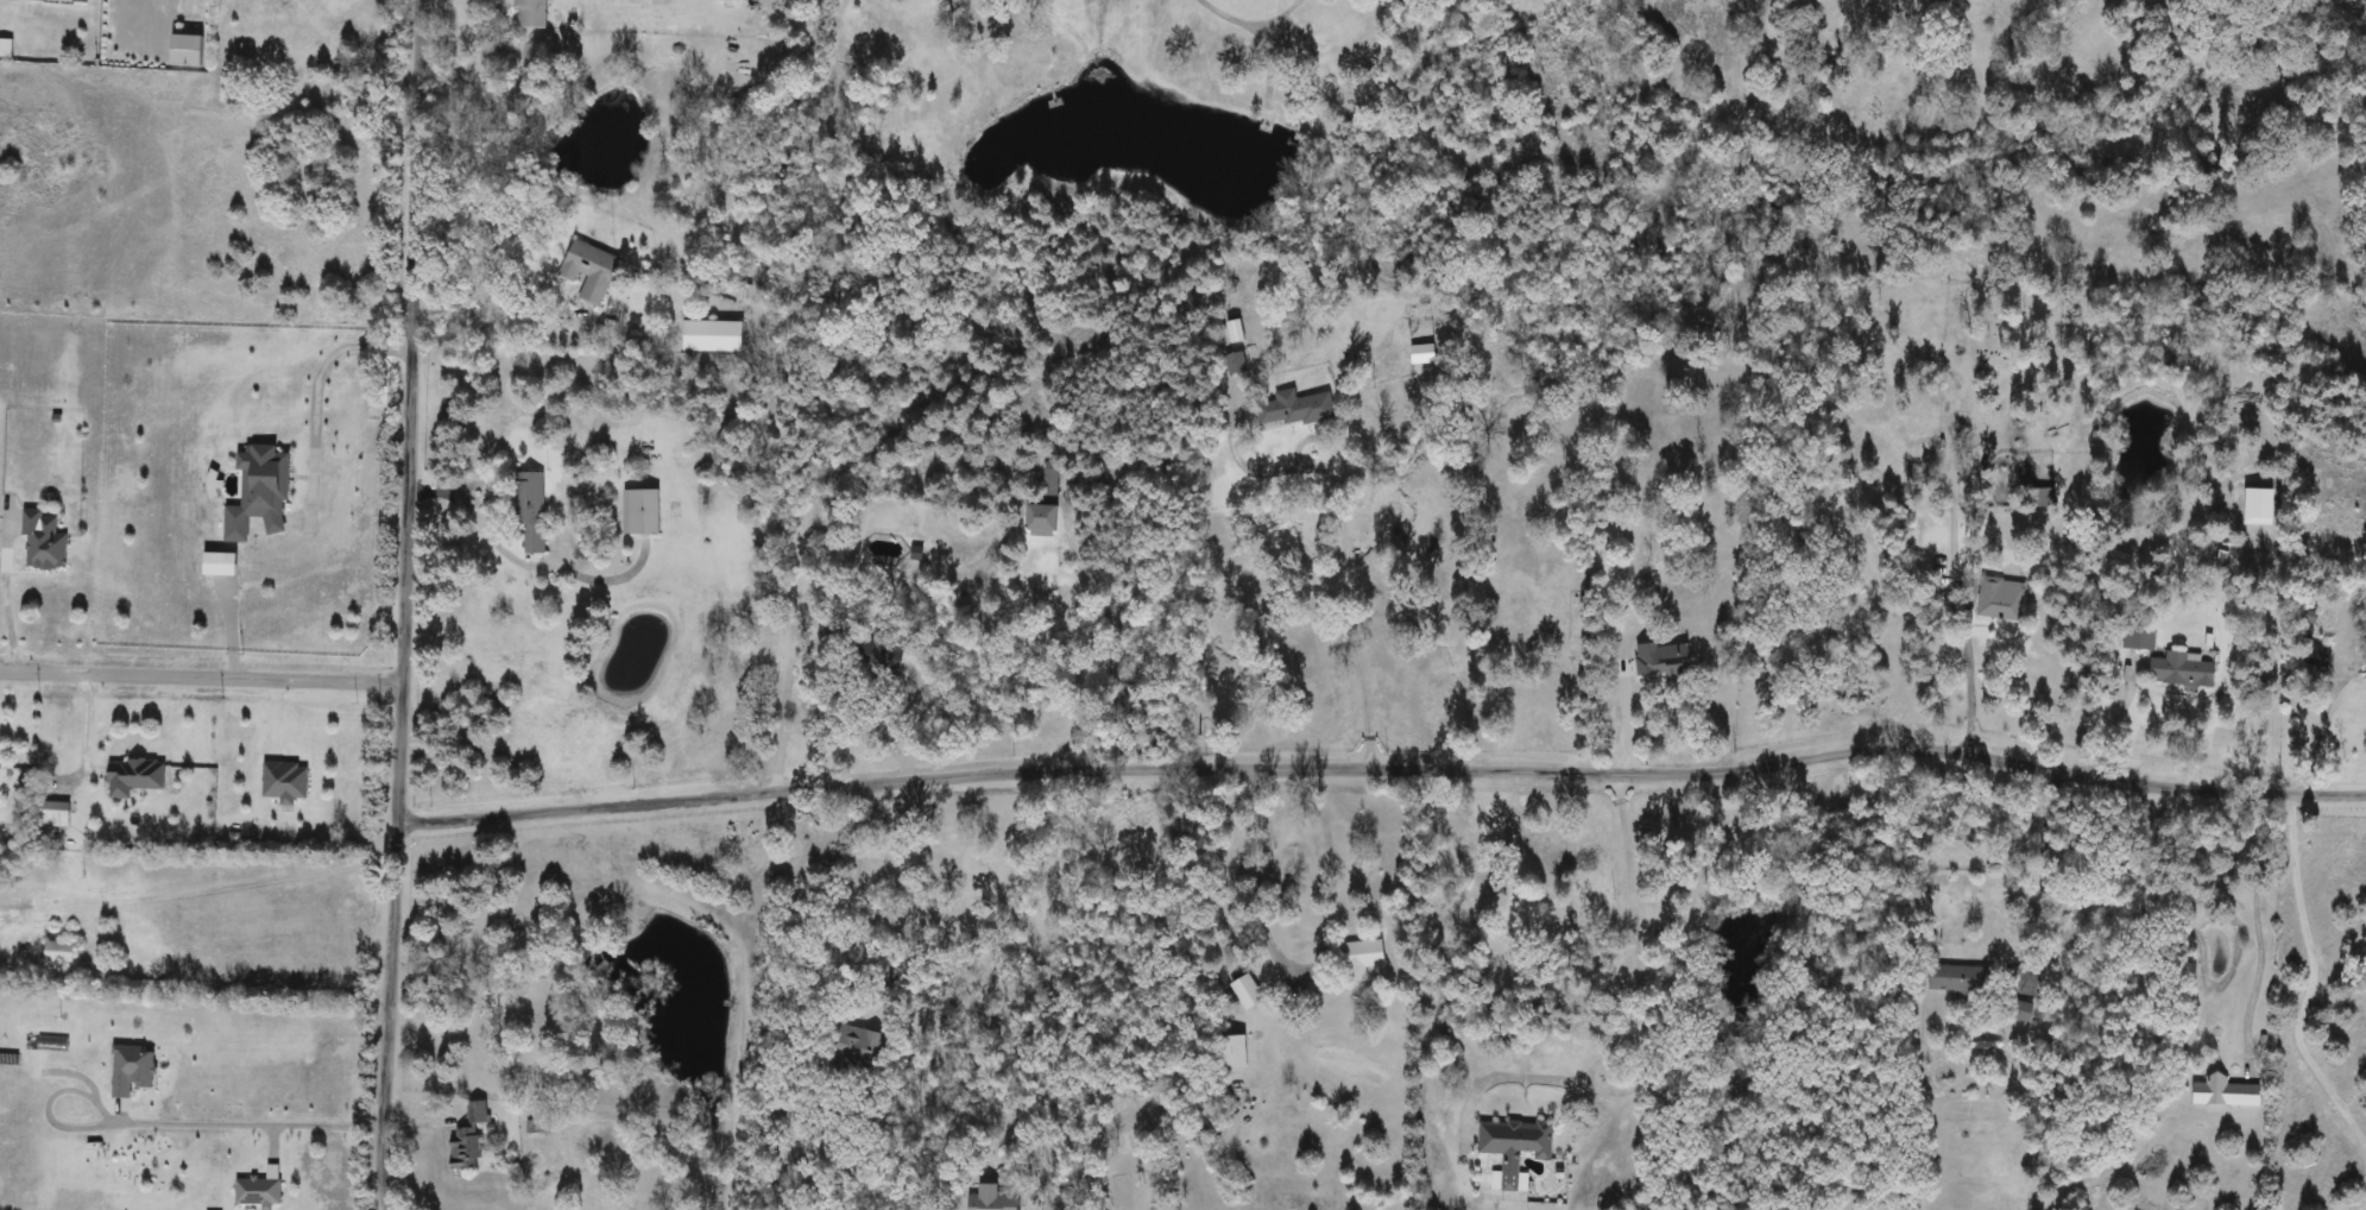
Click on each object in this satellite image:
building: (77, 0)
building: (532, 14)
road: (1229, 18)
building: (193, 50)
building: (592, 270)
building: (1236, 330)
building: (715, 335)
building: (1236, 363)
road: (318, 372)
building: (1294, 408)
building: (1050, 479)
building: (261, 491)
building: (644, 511)
building: (534, 512)
building: (1046, 518)
road: (478, 521)
building: (45, 541)
building: (223, 563)
building: (2001, 599)
road: (400, 605)
road: (8, 619)
building: (827, 625)
road: (1355, 635)
building: (2143, 637)
building: (876, 653)
building: (2321, 656)
road: (1132, 663)
building: (2182, 669)
road: (198, 679)
road: (1968, 691)
road: (781, 710)
road: (2113, 721)
road: (2321, 725)
road: (1383, 770)
building: (137, 776)
building: (288, 780)
building: (56, 813)
road: (1253, 878)
road: (233, 888)
road: (909, 905)
road: (2255, 925)
building: (63, 952)
building: (1357, 958)
building: (1964, 981)
building: (1249, 992)
road: (1638, 995)
building: (854, 1051)
building: (1238, 1051)
building: (2227, 1092)
road: (225, 1127)
building: (538, 1127)
building: (472, 1137)
building: (1516, 1147)
building: (263, 1189)
building: (996, 1199)

